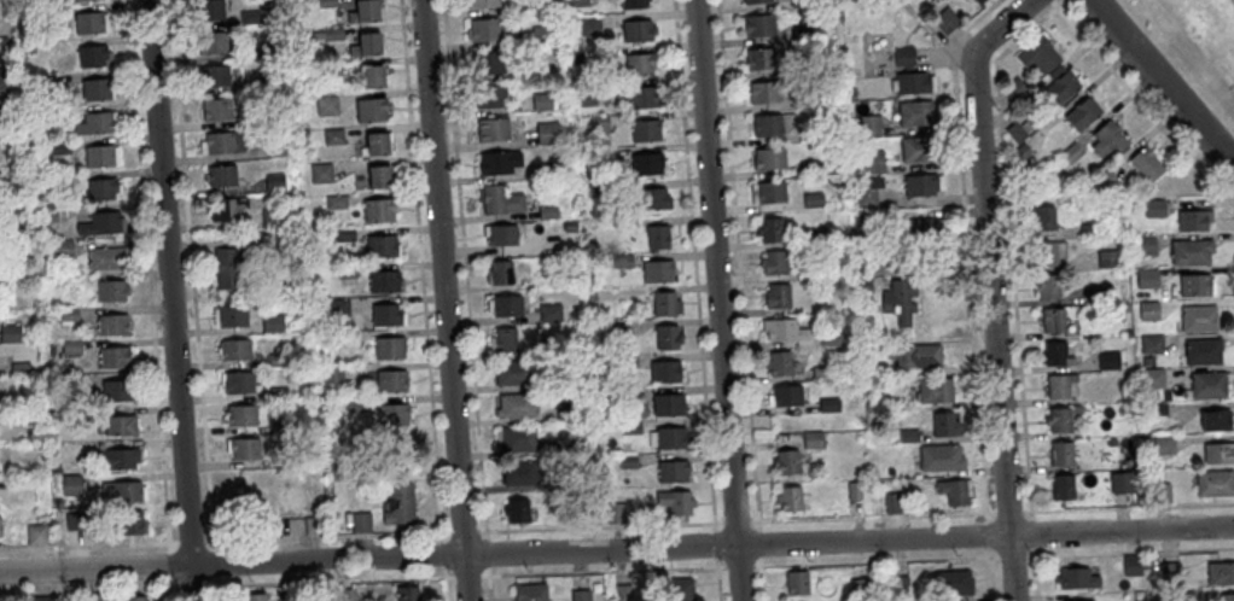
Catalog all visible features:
building: (915, 0)
building: (86, 1)
building: (980, 2)
road: (1054, 2)
building: (576, 4)
building: (756, 4)
building: (326, 5)
building: (801, 5)
building: (482, 6)
building: (634, 6)
building: (208, 13)
building: (1, 16)
building: (363, 18)
building: (250, 21)
building: (945, 23)
building: (87, 27)
building: (588, 28)
road: (1030, 29)
building: (758, 30)
building: (484, 34)
building: (636, 35)
building: (810, 35)
building: (541, 36)
building: (332, 37)
park: (1194, 45)
building: (213, 47)
building: (4, 48)
building: (269, 51)
building: (367, 51)
building: (1036, 54)
building: (91, 59)
building: (759, 63)
building: (487, 65)
building: (639, 68)
building: (908, 76)
building: (211, 80)
building: (5, 81)
building: (371, 83)
building: (1058, 83)
road: (1162, 83)
building: (272, 84)
building: (42, 89)
building: (95, 93)
building: (763, 97)
building: (584, 98)
building: (489, 100)
building: (641, 100)
building: (805, 103)
building: (541, 105)
road: (1146, 109)
building: (326, 110)
building: (1079, 112)
building: (216, 113)
building: (914, 113)
building: (369, 115)
building: (6, 118)
building: (45, 118)
building: (598, 126)
building: (868, 126)
building: (93, 127)
building: (1023, 127)
building: (767, 130)
building: (1013, 132)
building: (493, 134)
building: (644, 134)
building: (809, 134)
building: (547, 135)
building: (332, 140)
building: (1106, 140)
building: (219, 146)
building: (59, 150)
building: (278, 150)
building: (376, 151)
building: (916, 151)
building: (1018, 152)
building: (1069, 153)
building: (98, 159)
building: (1143, 162)
building: (769, 163)
building: (872, 163)
building: (809, 167)
building: (497, 168)
building: (646, 168)
building: (548, 171)
building: (320, 175)
building: (221, 180)
building: (58, 182)
building: (378, 182)
building: (1104, 182)
building: (274, 183)
building: (918, 185)
building: (8, 191)
building: (100, 192)
building: (598, 192)
building: (769, 193)
building: (863, 198)
building: (811, 199)
building: (652, 203)
building: (336, 204)
building: (500, 204)
building: (1152, 208)
building: (226, 211)
building: (377, 215)
building: (547, 215)
building: (1040, 216)
building: (1191, 218)
building: (272, 220)
building: (866, 221)
building: (100, 227)
building: (926, 227)
building: (769, 229)
building: (1088, 229)
building: (11, 234)
building: (344, 237)
building: (501, 239)
building: (657, 241)
road: (966, 245)
building: (1142, 246)
building: (380, 250)
building: (59, 251)
building: (1188, 251)
building: (1043, 252)
road: (694, 259)
building: (1105, 259)
building: (105, 262)
road: (739, 262)
building: (773, 262)
building: (869, 263)
building: (622, 264)
building: (231, 266)
road: (465, 268)
road: (147, 269)
road: (420, 269)
road: (191, 272)
building: (347, 273)
building: (656, 276)
building: (500, 278)
building: (1145, 279)
road: (1013, 284)
building: (383, 285)
building: (1192, 285)
building: (1044, 286)
road: (989, 287)
building: (110, 294)
building: (1099, 294)
building: (775, 296)
building: (588, 298)
road: (716, 299)
road: (169, 300)
road: (443, 300)
building: (897, 300)
building: (338, 309)
building: (665, 309)
building: (1146, 310)
building: (506, 311)
building: (549, 316)
building: (70, 317)
building: (1049, 317)
building: (1195, 317)
building: (385, 319)
building: (231, 321)
building: (272, 325)
building: (111, 329)
building: (781, 329)
building: (616, 334)
building: (10, 337)
building: (330, 339)
building: (828, 339)
building: (665, 342)
building: (504, 344)
building: (1149, 344)
building: (71, 350)
building: (551, 350)
building: (1201, 351)
building: (389, 352)
building: (234, 354)
building: (1054, 354)
building: (916, 355)
building: (1106, 361)
building: (1143, 361)
building: (113, 362)
building: (274, 362)
building: (624, 363)
building: (778, 363)
building: (19, 372)
building: (821, 373)
building: (332, 377)
building: (663, 377)
building: (512, 378)
building: (1151, 378)
building: (561, 383)
building: (390, 384)
building: (1057, 384)
building: (1204, 385)
building: (71, 387)
building: (238, 387)
building: (932, 390)
building: (116, 396)
building: (278, 396)
building: (625, 397)
building: (785, 397)
building: (827, 405)
building: (356, 408)
building: (667, 409)
building: (1154, 409)
building: (514, 410)
building: (565, 414)
building: (391, 418)
building: (2, 419)
building: (1057, 419)
building: (1215, 419)
building: (240, 420)
building: (943, 425)
building: (120, 430)
building: (280, 430)
building: (629, 431)
building: (907, 436)
building: (810, 440)
building: (670, 442)
building: (517, 443)
building: (1108, 443)
building: (1162, 445)
building: (1058, 453)
building: (1216, 453)
building: (244, 454)
building: (938, 457)
building: (786, 462)
building: (116, 463)
building: (627, 465)
building: (54, 471)
building: (671, 475)
building: (519, 477)
building: (1119, 482)
building: (1213, 483)
building: (1061, 485)
building: (71, 489)
building: (852, 490)
building: (951, 491)
building: (1159, 492)
building: (124, 496)
building: (788, 498)
building: (674, 502)
road: (1192, 504)
building: (57, 506)
road: (1082, 508)
building: (397, 509)
building: (615, 510)
road: (1008, 510)
building: (249, 514)
building: (516, 514)
road: (936, 514)
road: (810, 518)
road: (752, 519)
building: (360, 520)
road: (734, 520)
road: (716, 521)
building: (310, 523)
building: (75, 525)
road: (598, 525)
road: (712, 525)
building: (129, 526)
road: (479, 530)
road: (444, 531)
road: (461, 531)
road: (988, 532)
road: (1031, 532)
building: (35, 533)
road: (326, 535)
road: (173, 539)
road: (191, 539)
road: (209, 539)
road: (758, 541)
road: (85, 543)
road: (169, 543)
road: (714, 543)
road: (616, 545)
road: (1194, 548)
road: (484, 552)
road: (442, 553)
road: (1088, 553)
road: (1012, 555)
road: (759, 559)
road: (874, 559)
road: (213, 560)
road: (715, 561)
road: (169, 562)
road: (756, 562)
road: (720, 564)
road: (738, 564)
building: (1130, 565)
road: (601, 570)
road: (442, 571)
road: (485, 571)
building: (1168, 573)
building: (1220, 573)
road: (483, 574)
road: (446, 576)
road: (464, 576)
building: (1073, 577)
road: (991, 578)
road: (1035, 578)
road: (328, 579)
road: (170, 582)
road: (761, 582)
building: (794, 582)
building: (950, 582)
road: (717, 583)
road: (192, 584)
road: (211, 584)
road: (174, 585)
building: (897, 587)
road: (85, 588)
road: (215, 588)
road: (443, 588)
road: (487, 588)
building: (857, 588)
building: (668, 589)
building: (529, 591)
road: (170, 593)
building: (404, 593)
building: (621, 593)
building: (347, 595)
building: (578, 595)
building: (290, 596)
building: (1186, 596)
building: (95, 597)
building: (133, 597)
building: (254, 597)
building: (1227, 597)
building: (39, 600)
building: (1081, 600)

